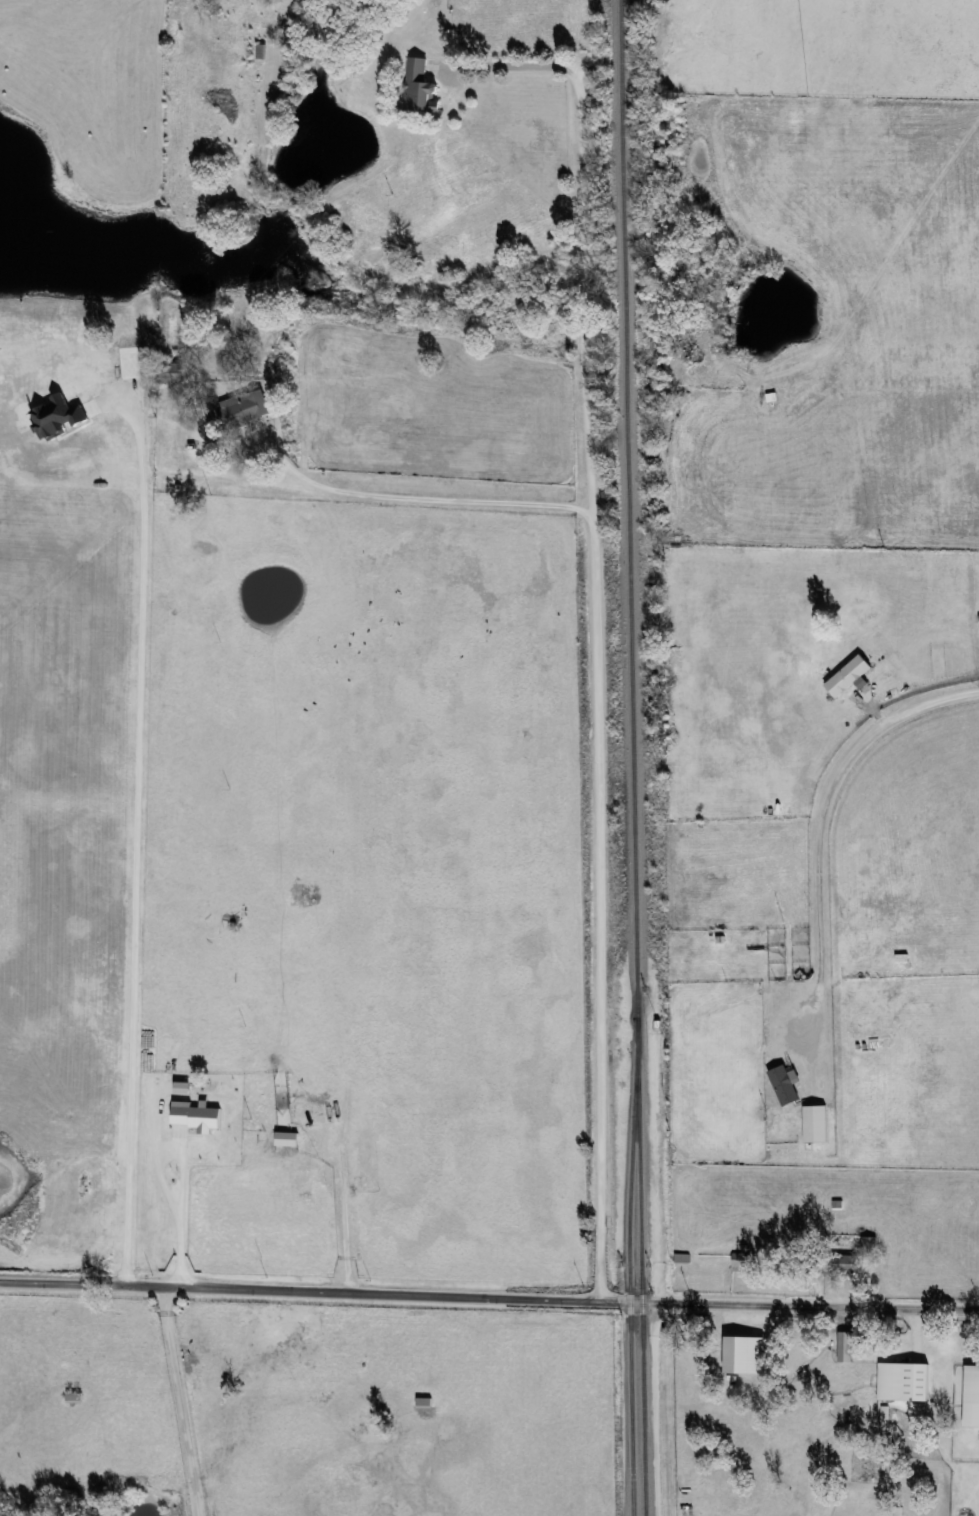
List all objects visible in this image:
building: (420, 87)
road: (584, 227)
building: (240, 408)
building: (848, 676)
road: (597, 741)
railway: (632, 757)
road: (824, 824)
road: (139, 833)
building: (784, 1085)
building: (175, 1091)
building: (193, 1118)
building: (815, 1124)
building: (310, 1141)
road: (185, 1178)
building: (868, 1244)
building: (742, 1261)
building: (846, 1265)
road: (489, 1297)
building: (845, 1345)
building: (739, 1354)
building: (902, 1381)
building: (74, 1396)
building: (970, 1397)
road: (183, 1400)
building: (424, 1402)
building: (884, 1418)

